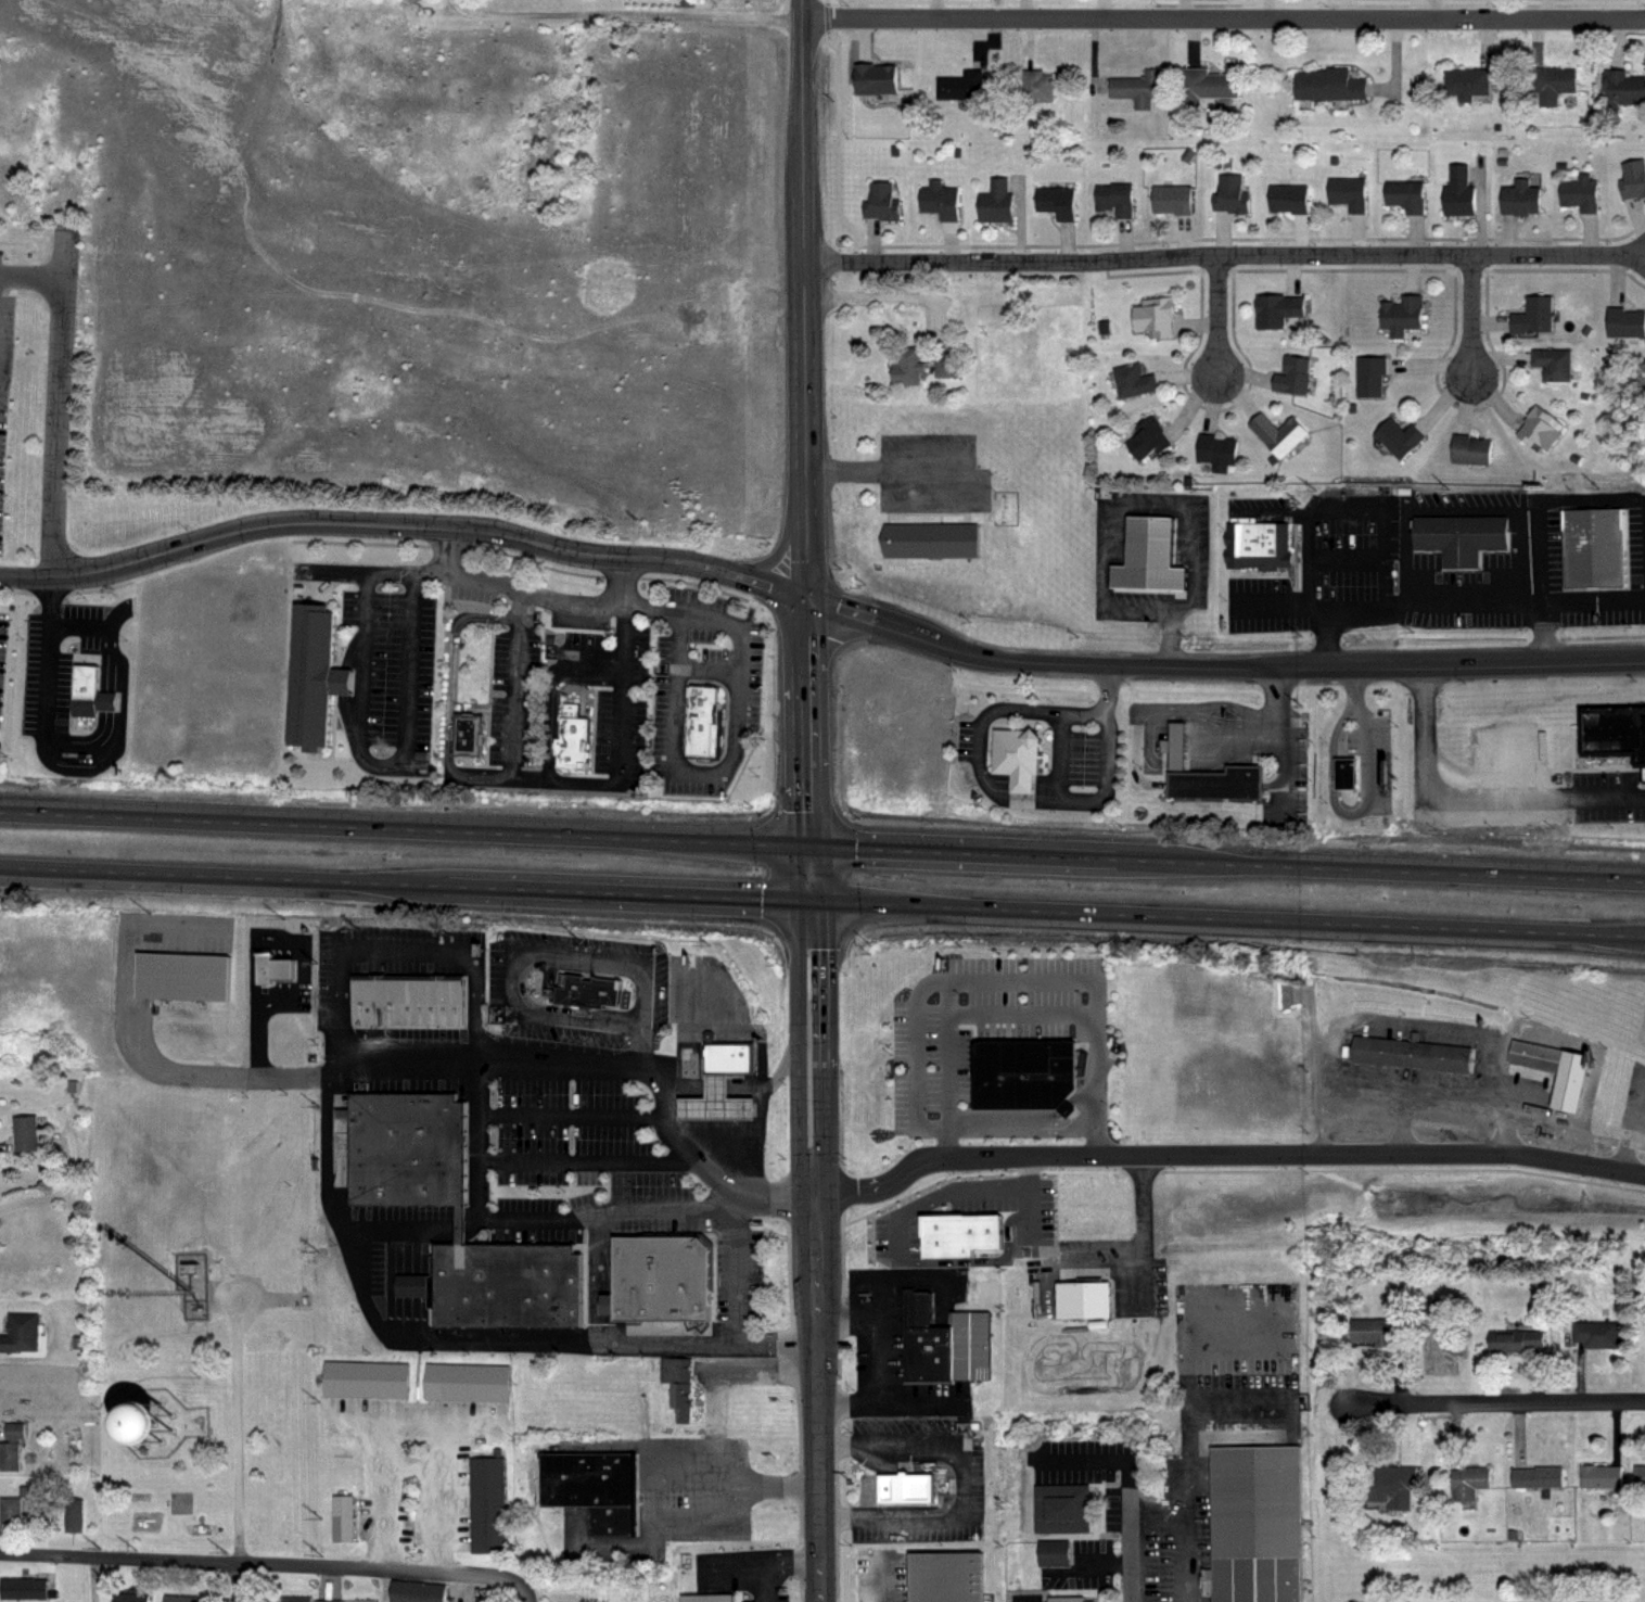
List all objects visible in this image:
road: (626, 12)
crop: (242, 13)
road: (1224, 20)
building: (876, 78)
building: (1331, 84)
building: (1468, 84)
building: (1555, 84)
building: (1210, 85)
building: (962, 86)
building: (1038, 86)
building: (1622, 87)
building: (1142, 88)
crop: (39, 111)
building: (1634, 179)
building: (1461, 192)
building: (1351, 193)
building: (1583, 193)
building: (1234, 195)
building: (1408, 196)
building: (1521, 198)
building: (1117, 199)
building: (1175, 199)
building: (1291, 199)
building: (941, 200)
building: (884, 203)
building: (998, 203)
building: (1059, 203)
road: (1223, 255)
road: (34, 279)
crop: (433, 279)
building: (1277, 310)
road: (1472, 315)
road: (1219, 316)
building: (1402, 316)
building: (1536, 316)
building: (1158, 317)
building: (1627, 322)
building: (1554, 364)
building: (910, 367)
building: (949, 367)
building: (1295, 376)
building: (1372, 376)
building: (1136, 382)
road: (60, 406)
building: (1542, 427)
building: (1279, 433)
building: (1151, 437)
building: (1401, 438)
road: (803, 449)
building: (1472, 449)
building: (1219, 452)
road: (938, 499)
road: (1153, 500)
road: (403, 526)
building: (1464, 531)
building: (931, 533)
building: (1259, 538)
building: (1594, 542)
road: (776, 551)
road: (450, 554)
building: (1151, 554)
road: (625, 581)
road: (518, 590)
traffic signals: (805, 598)
road: (1461, 600)
road: (1143, 610)
road: (1543, 633)
road: (1171, 641)
crop: (203, 657)
road: (1220, 666)
building: (313, 674)
road: (519, 675)
building: (82, 677)
parking lot: (390, 681)
road: (622, 691)
road: (737, 692)
parking lot: (519, 697)
building: (704, 714)
building: (577, 721)
road: (1365, 732)
road: (1281, 736)
building: (1612, 736)
building: (468, 738)
building: (1017, 751)
road: (80, 764)
road: (386, 767)
building: (1346, 768)
building: (1206, 771)
road: (1476, 791)
parking lot: (1604, 796)
road: (1008, 800)
traffic signals: (808, 844)
road: (822, 844)
traffic signals: (809, 900)
road: (822, 900)
road: (293, 943)
road: (387, 949)
road: (611, 957)
building: (273, 969)
building: (184, 976)
building: (590, 990)
road: (512, 991)
building: (677, 995)
road: (1017, 1002)
building: (411, 1014)
road: (590, 1021)
road: (255, 1035)
road: (647, 1043)
road: (761, 1043)
building: (1413, 1048)
road: (480, 1054)
building: (729, 1056)
road: (785, 1061)
building: (1550, 1064)
building: (1024, 1067)
road: (715, 1085)
road: (679, 1088)
building: (717, 1101)
road: (1338, 1105)
road: (1448, 1110)
road: (570, 1115)
road: (1020, 1126)
building: (26, 1131)
parking lot: (581, 1144)
road: (1225, 1152)
road: (729, 1157)
road: (587, 1160)
road: (71, 1181)
road: (1142, 1205)
road: (530, 1217)
building: (456, 1218)
road: (460, 1218)
road: (814, 1250)
building: (663, 1275)
building: (1085, 1299)
building: (1380, 1330)
road: (732, 1332)
road: (448, 1333)
building: (1644, 1333)
building: (21, 1334)
building: (1598, 1334)
road: (774, 1338)
building: (1517, 1342)
building: (947, 1343)
road: (865, 1359)
building: (370, 1382)
building: (469, 1383)
building: (677, 1395)
road: (1497, 1402)
water tower: (153, 1417)
road: (398, 1419)
road: (235, 1427)
building: (115, 1431)
building: (9, 1455)
road: (659, 1465)
building: (1536, 1472)
building: (1641, 1472)
building: (1603, 1473)
building: (1469, 1476)
building: (1389, 1478)
building: (594, 1483)
road: (964, 1484)
building: (902, 1488)
building: (489, 1506)
building: (1062, 1508)
building: (9, 1512)
building: (73, 1514)
park: (182, 1514)
building: (344, 1516)
building: (1254, 1522)
road: (1156, 1528)
road: (1132, 1550)
building: (1057, 1553)
road: (259, 1564)
road: (1181, 1565)
building: (688, 1572)
building: (947, 1575)
road: (94, 1579)
building: (762, 1581)
road: (238, 1582)
building: (23, 1589)
building: (417, 1590)
road: (525, 1591)
building: (130, 1597)
building: (181, 1597)
building: (314, 1598)
building: (1068, 1599)
building: (1564, 1599)
building: (1444, 1600)

